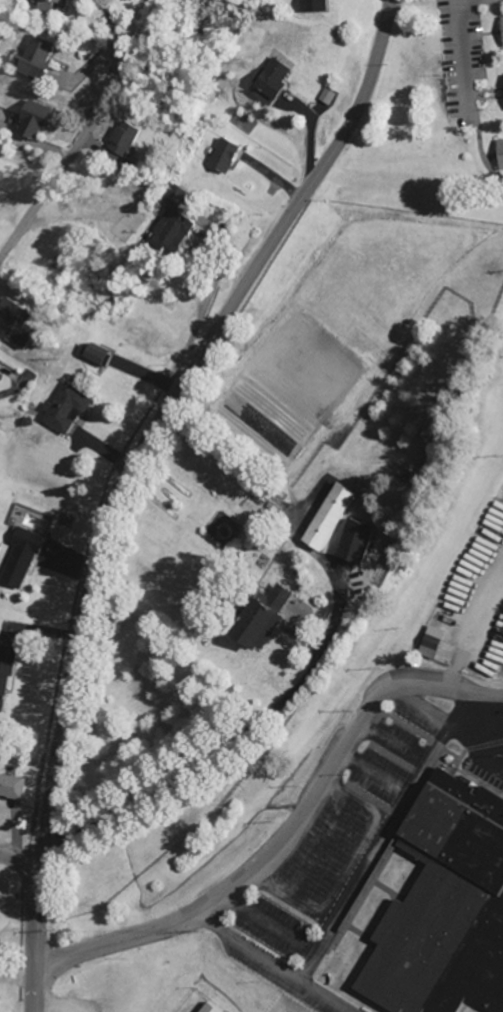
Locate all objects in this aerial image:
building: (51, 5)
building: (315, 6)
building: (501, 24)
road: (115, 30)
road: (466, 49)
building: (36, 59)
building: (270, 84)
building: (329, 98)
building: (31, 121)
road: (314, 131)
road: (81, 137)
building: (122, 141)
building: (502, 149)
building: (225, 157)
building: (174, 224)
building: (17, 325)
building: (96, 358)
building: (0, 360)
building: (66, 410)
road: (127, 474)
building: (329, 518)
building: (354, 542)
building: (20, 560)
building: (259, 618)
building: (430, 643)
building: (5, 674)
road: (244, 731)
building: (12, 787)
road: (289, 834)
road: (21, 862)
building: (444, 907)
building: (205, 1008)

